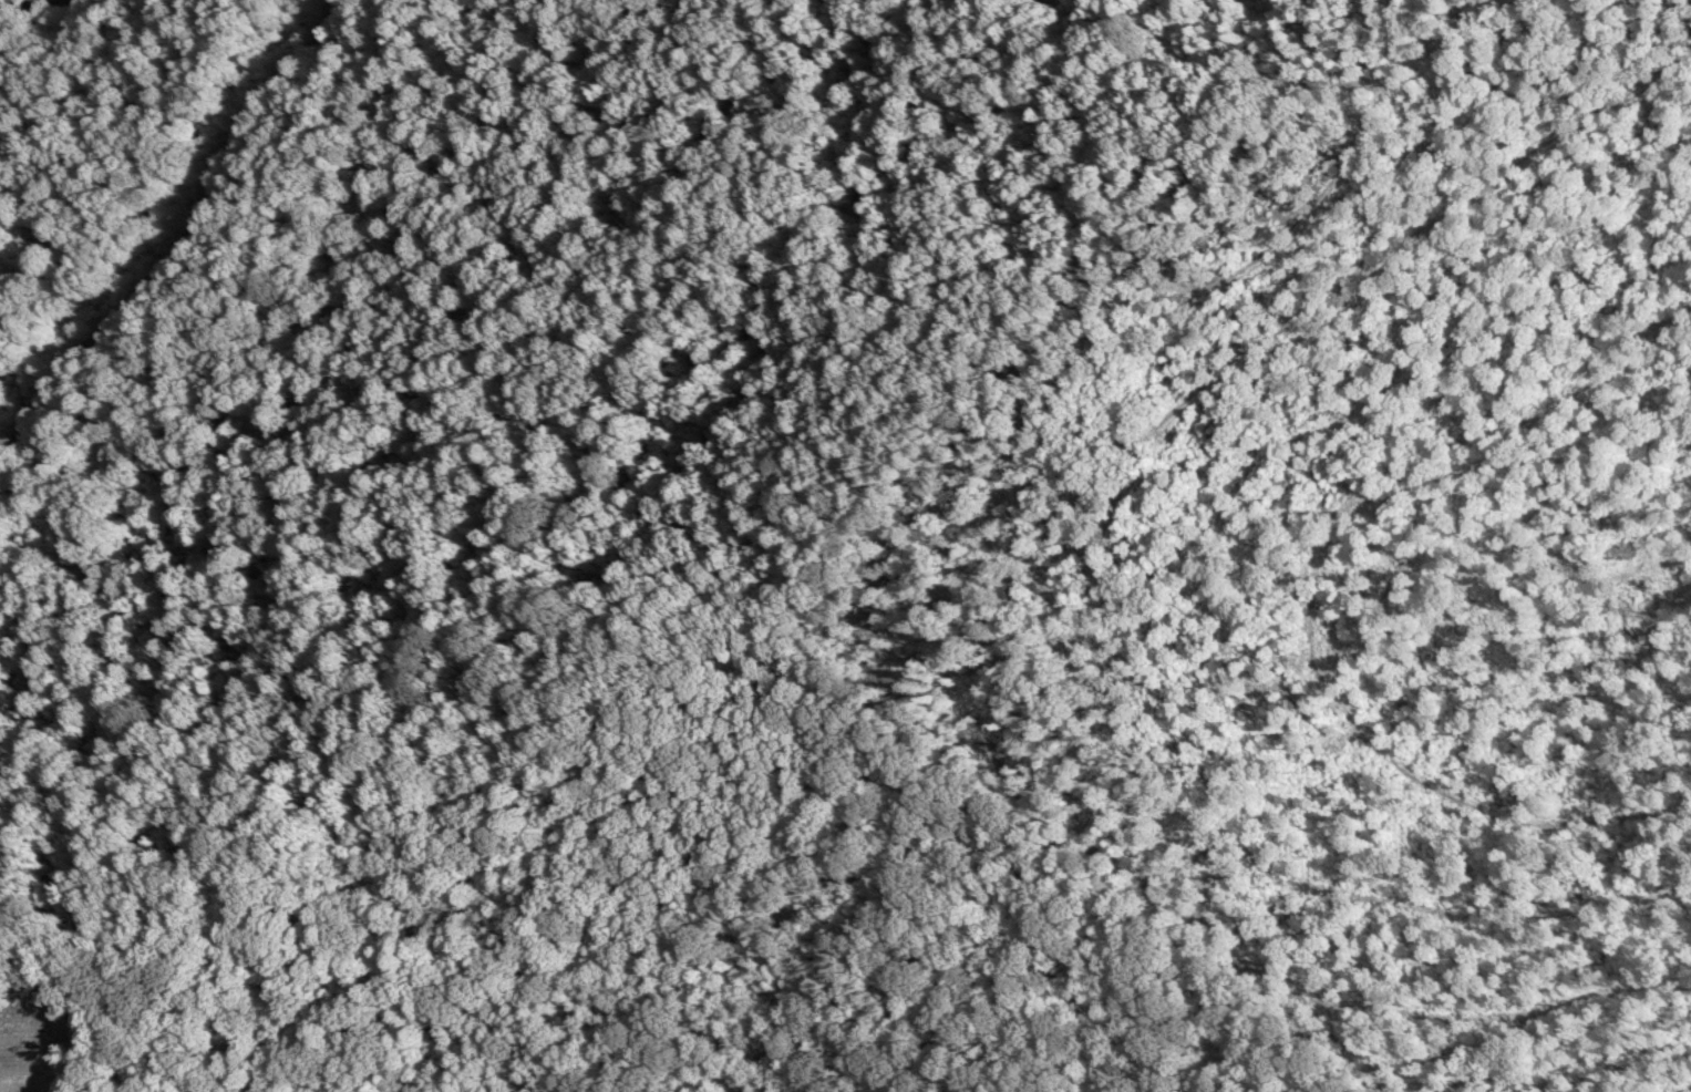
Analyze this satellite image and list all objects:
river: (13, 2)
road: (181, 236)

